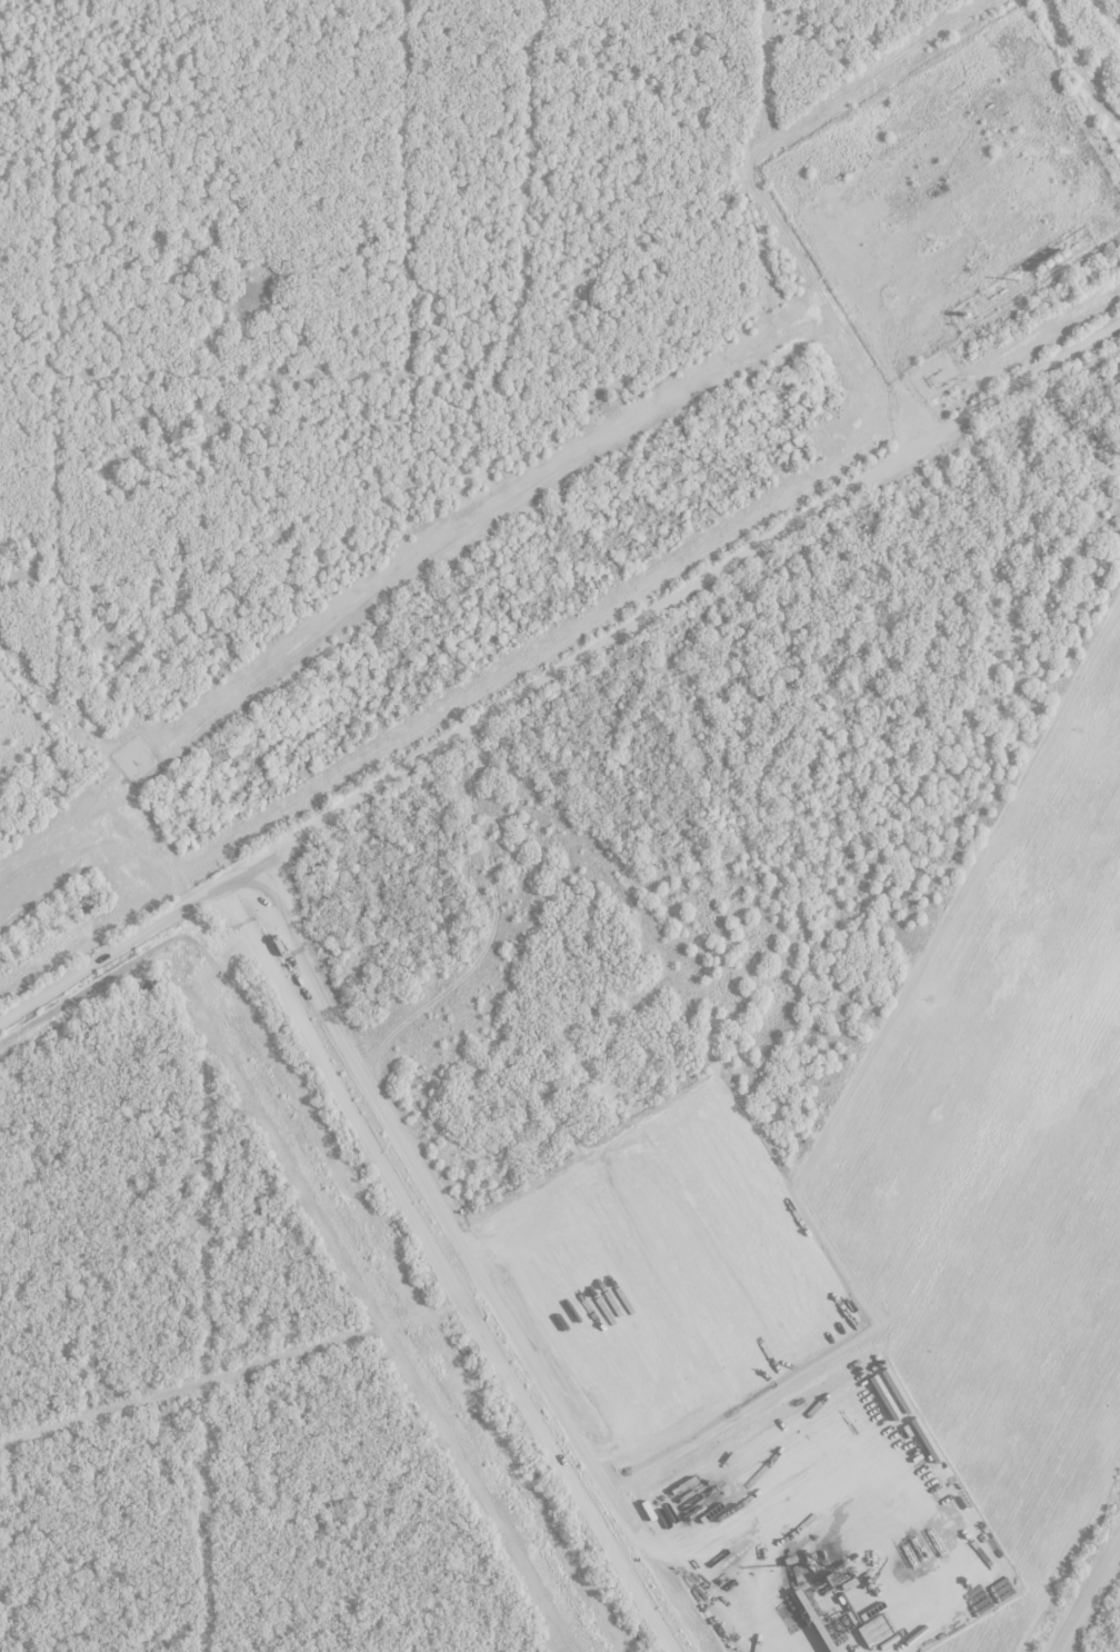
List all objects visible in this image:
road: (559, 669)
road: (446, 1268)

